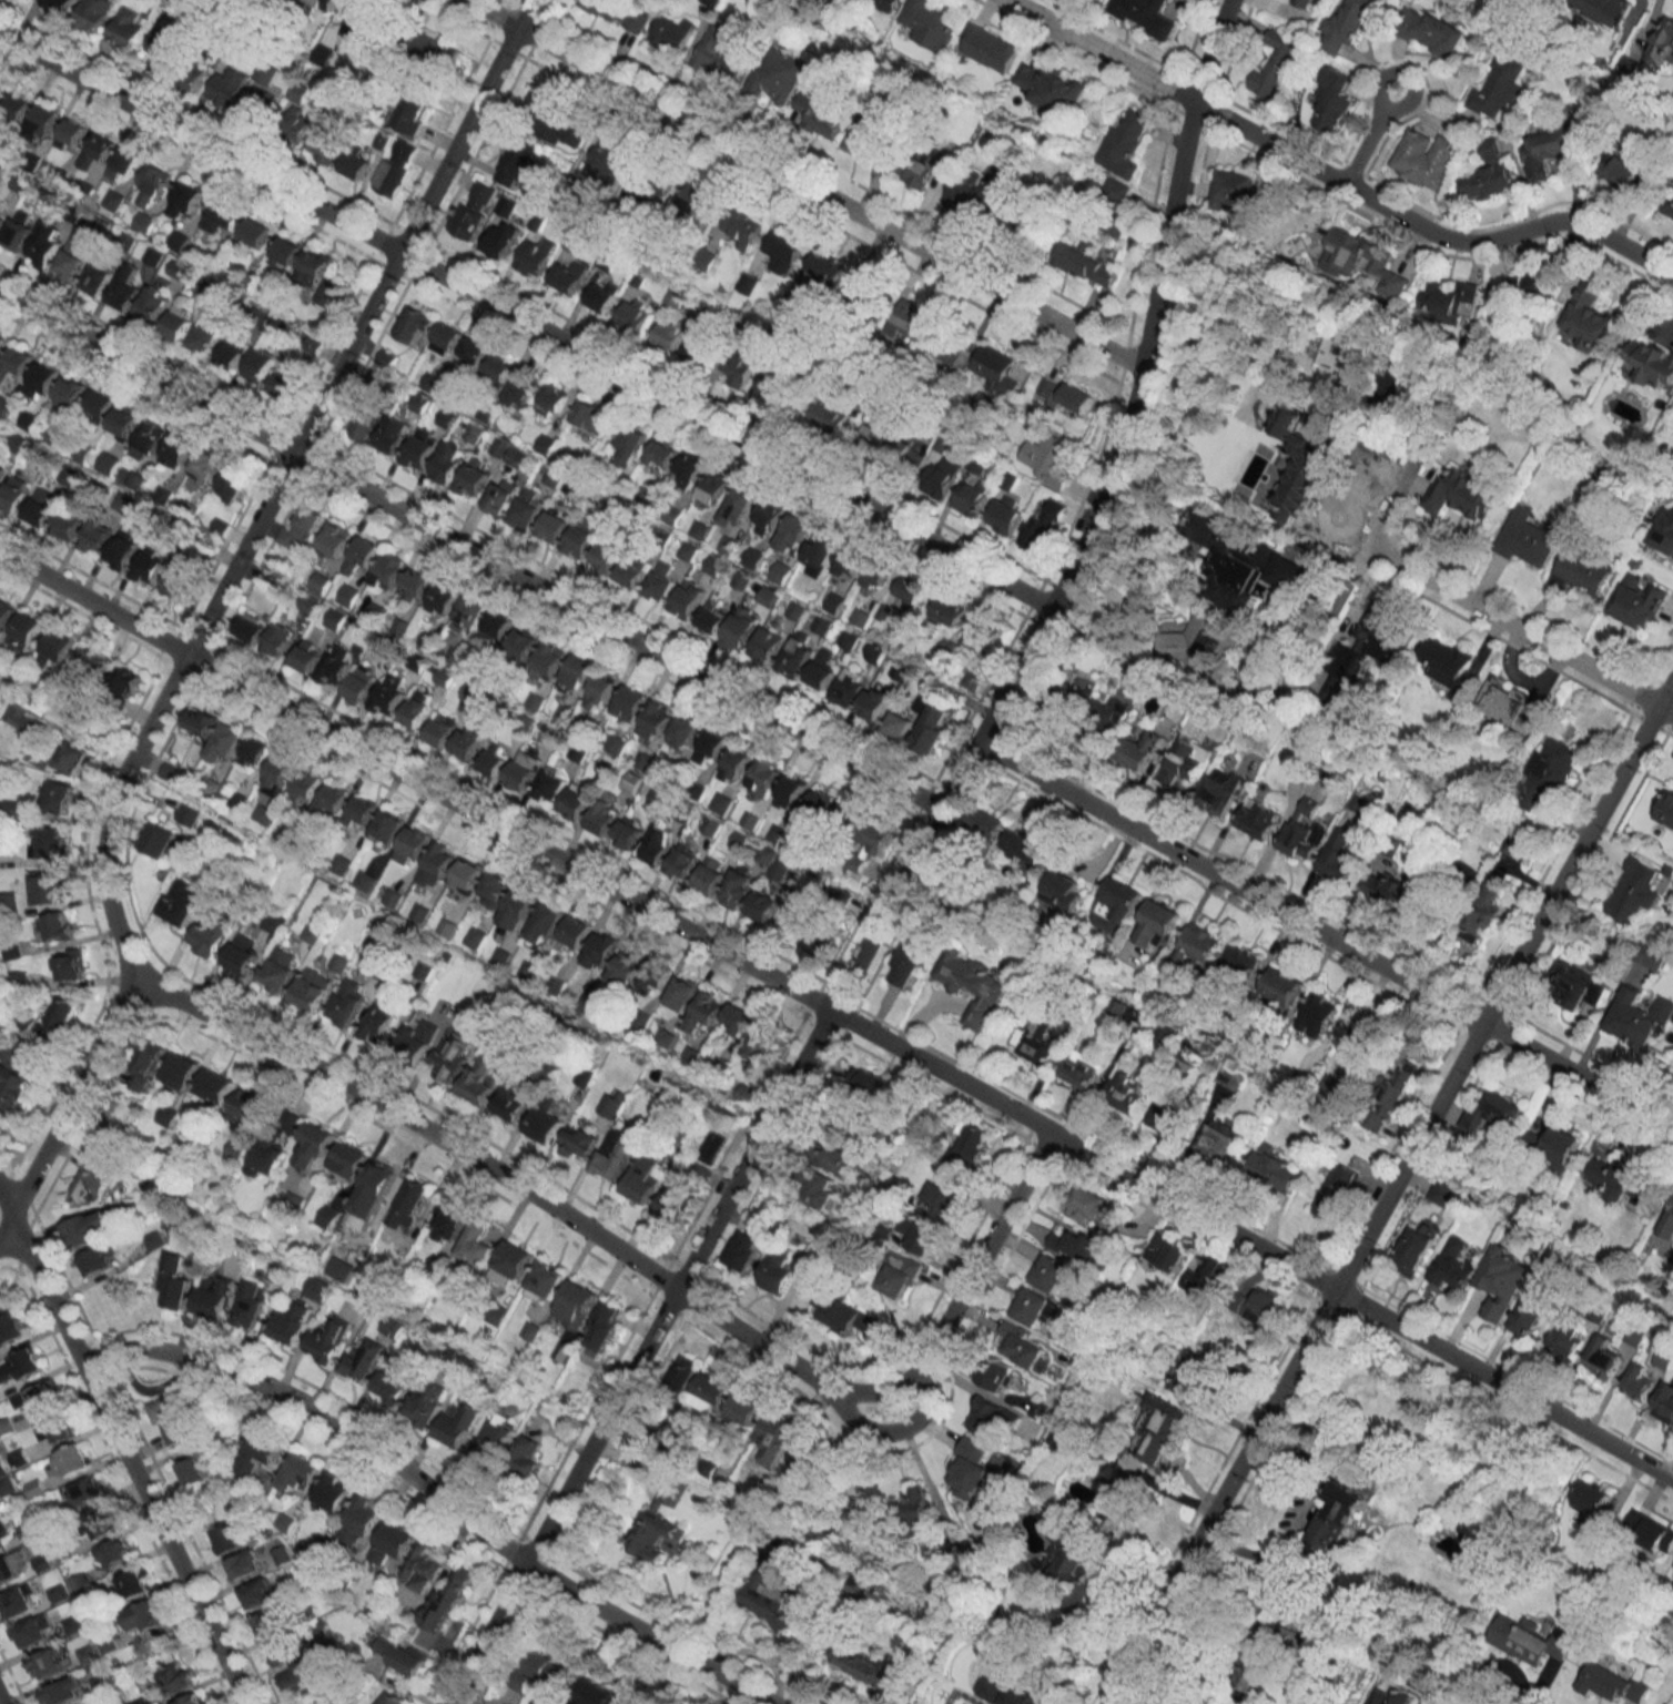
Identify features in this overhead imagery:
building: (710, 2)
building: (1300, 2)
building: (323, 3)
building: (884, 3)
building: (55, 4)
building: (1604, 10)
building: (618, 12)
building: (1144, 13)
building: (94, 14)
building: (362, 23)
building: (927, 23)
building: (1348, 26)
building: (125, 30)
building: (671, 33)
building: (1433, 33)
building: (1664, 40)
building: (433, 48)
building: (986, 48)
building: (162, 49)
building: (322, 54)
building: (720, 57)
building: (1275, 63)
building: (192, 71)
building: (265, 73)
building: (778, 74)
building: (226, 87)
building: (1051, 88)
building: (1499, 89)
building: (298, 92)
building: (17, 103)
building: (256, 109)
building: (1330, 110)
building: (820, 116)
building: (43, 121)
building: (554, 122)
building: (294, 126)
road: (1369, 133)
building: (71, 135)
building: (1123, 144)
building: (325, 145)
building: (871, 145)
building: (95, 151)
building: (1549, 151)
building: (1427, 159)
building: (608, 161)
building: (515, 162)
building: (0, 164)
building: (356, 164)
building: (926, 165)
building: (397, 168)
building: (1620, 172)
building: (1489, 173)
road: (1336, 176)
building: (655, 182)
building: (153, 184)
building: (1231, 189)
building: (969, 192)
building: (184, 200)
building: (113, 201)
building: (699, 202)
building: (1670, 206)
building: (506, 207)
building: (473, 209)
road: (860, 214)
building: (2, 215)
building: (221, 216)
building: (1022, 220)
building: (143, 222)
building: (743, 230)
building: (18, 232)
building: (256, 232)
building: (503, 239)
building: (44, 245)
building: (285, 252)
building: (783, 252)
building: (536, 257)
building: (72, 258)
building: (1362, 260)
building: (1085, 265)
building: (313, 267)
building: (825, 267)
building: (178, 270)
building: (98, 276)
building: (569, 276)
building: (125, 288)
building: (865, 290)
building: (1520, 290)
building: (326, 295)
building: (604, 296)
building: (675, 297)
building: (1447, 302)
building: (1221, 303)
building: (152, 305)
building: (635, 314)
road: (526, 318)
building: (1590, 318)
building: (911, 319)
building: (178, 322)
building: (416, 326)
building: (669, 333)
building: (204, 336)
building: (446, 339)
building: (1, 341)
building: (233, 351)
building: (951, 351)
building: (1342, 351)
building: (701, 352)
building: (472, 357)
building: (386, 358)
building: (14, 363)
building: (739, 364)
building: (1652, 364)
building: (258, 365)
building: (499, 369)
building: (996, 369)
building: (41, 378)
building: (286, 386)
building: (773, 390)
building: (70, 393)
building: (520, 393)
building: (1065, 397)
building: (554, 398)
building: (97, 409)
building: (829, 413)
building: (591, 415)
building: (123, 424)
building: (365, 424)
building: (392, 438)
building: (149, 439)
building: (891, 439)
building: (546, 444)
building: (630, 444)
building: (420, 449)
building: (178, 450)
building: (662, 455)
building: (1047, 459)
building: (448, 461)
building: (109, 463)
building: (203, 466)
building: (689, 470)
building: (1, 471)
building: (69, 475)
building: (941, 476)
building: (474, 478)
road: (278, 479)
building: (233, 483)
building: (713, 487)
building: (13, 494)
building: (1462, 494)
building: (501, 496)
building: (646, 498)
building: (972, 498)
building: (737, 507)
building: (40, 508)
building: (528, 508)
building: (1005, 516)
building: (767, 518)
building: (67, 526)
building: (554, 526)
building: (1043, 526)
road: (1088, 527)
building: (301, 528)
building: (1663, 531)
building: (793, 534)
building: (95, 535)
building: (581, 537)
road: (1371, 538)
building: (335, 539)
building: (1528, 539)
road: (469, 549)
building: (123, 550)
building: (688, 551)
building: (819, 554)
building: (362, 555)
building: (607, 557)
building: (753, 558)
building: (848, 561)
building: (1243, 564)
building: (149, 566)
building: (712, 566)
building: (633, 570)
building: (780, 572)
building: (1581, 572)
building: (387, 574)
building: (875, 574)
building: (660, 582)
building: (178, 584)
building: (415, 586)
building: (911, 589)
building: (315, 592)
building: (347, 596)
building: (769, 596)
building: (443, 598)
building: (688, 599)
building: (834, 602)
building: (1639, 602)
building: (950, 610)
building: (6, 612)
building: (467, 617)
building: (712, 618)
building: (861, 618)
building: (335, 619)
building: (821, 625)
building: (251, 628)
building: (741, 628)
building: (496, 629)
building: (24, 631)
road: (1520, 631)
building: (984, 635)
building: (280, 639)
building: (848, 639)
building: (1198, 643)
building: (523, 645)
building: (767, 645)
building: (55, 648)
building: (876, 653)
building: (1360, 653)
building: (307, 656)
building: (797, 656)
building: (549, 660)
building: (1447, 663)
building: (90, 665)
building: (336, 665)
building: (822, 670)
building: (900, 670)
building: (576, 674)
building: (126, 681)
building: (362, 682)
building: (849, 687)
building: (600, 692)
building: (389, 693)
building: (1064, 694)
building: (630, 703)
building: (874, 703)
building: (1511, 706)
building: (416, 709)
building: (21, 718)
building: (656, 720)
building: (200, 721)
building: (899, 723)
building: (932, 728)
building: (442, 730)
building: (683, 732)
building: (226, 739)
building: (468, 742)
building: (615, 743)
building: (711, 744)
building: (255, 750)
building: (1143, 751)
building: (60, 755)
building: (493, 761)
building: (1184, 762)
building: (734, 764)
building: (523, 771)
building: (1548, 771)
building: (276, 774)
building: (763, 778)
road: (414, 781)
building: (306, 785)
building: (550, 785)
building: (1221, 790)
building: (791, 791)
building: (55, 795)
building: (331, 801)
building: (576, 801)
building: (722, 803)
building: (821, 803)
building: (11, 807)
building: (1666, 810)
building: (361, 812)
building: (683, 812)
building: (186, 814)
building: (605, 815)
building: (845, 815)
building: (1259, 819)
building: (988, 822)
building: (711, 824)
building: (388, 825)
building: (1304, 832)
building: (628, 833)
building: (875, 838)
building: (161, 841)
building: (48, 843)
building: (413, 844)
building: (658, 844)
building: (1027, 846)
building: (1340, 856)
building: (685, 859)
building: (773, 862)
building: (437, 864)
building: (467, 875)
building: (711, 875)
building: (365, 881)
building: (45, 887)
building: (1063, 887)
building: (1634, 887)
building: (738, 889)
building: (494, 890)
building: (1389, 890)
building: (1119, 901)
building: (179, 903)
building: (763, 905)
building: (518, 909)
building: (1481, 913)
building: (1156, 924)
building: (544, 925)
building: (57, 926)
building: (574, 932)
building: (210, 934)
road: (1325, 936)
building: (820, 941)
building: (1199, 946)
building: (600, 951)
building: (242, 954)
building: (1652, 957)
building: (1241, 962)
building: (68, 964)
building: (906, 964)
building: (627, 966)
building: (280, 968)
building: (653, 977)
building: (974, 985)
building: (1578, 985)
building: (1282, 986)
building: (312, 988)
building: (682, 993)
building: (347, 1002)
building: (1118, 1006)
building: (63, 1013)
building: (706, 1013)
building: (1318, 1015)
building: (1639, 1016)
building: (738, 1020)
road: (1603, 1020)
building: (379, 1021)
building: (28, 1022)
building: (1165, 1033)
building: (417, 1041)
building: (763, 1042)
building: (1035, 1042)
building: (452, 1056)
building: (146, 1062)
building: (181, 1069)
building: (1083, 1069)
building: (14, 1076)
building: (1230, 1077)
building: (480, 1078)
building: (871, 1081)
building: (215, 1086)
building: (1128, 1093)
building: (516, 1095)
building: (1390, 1099)
road: (69, 1105)
building: (608, 1105)
building: (247, 1107)
building: (1494, 1113)
building: (168, 1115)
building: (1170, 1115)
building: (545, 1120)
building: (292, 1122)
building: (1219, 1138)
building: (315, 1142)
building: (579, 1142)
building: (235, 1147)
building: (1560, 1147)
building: (266, 1158)
building: (615, 1158)
building: (349, 1159)
building: (843, 1160)
building: (1273, 1168)
building: (643, 1178)
building: (92, 1180)
building: (1620, 1181)
building: (376, 1184)
building: (1337, 1190)
road: (1390, 1190)
building: (1442, 1190)
building: (822, 1193)
building: (676, 1198)
building: (939, 1200)
building: (408, 1205)
building: (1092, 1208)
building: (447, 1224)
building: (1669, 1224)
building: (90, 1227)
building: (921, 1235)
building: (1079, 1245)
road: (1251, 1245)
building: (476, 1248)
building: (747, 1249)
building: (1166, 1250)
building: (1415, 1250)
building: (98, 1260)
building: (511, 1262)
building: (1453, 1264)
road: (643, 1269)
building: (780, 1270)
building: (277, 1274)
building: (900, 1274)
building: (1054, 1274)
building: (1205, 1276)
building: (546, 1279)
building: (1503, 1280)
building: (175, 1281)
road: (677, 1288)
building: (318, 1289)
building: (215, 1296)
building: (3, 1300)
building: (252, 1305)
building: (576, 1305)
building: (1259, 1305)
building: (1035, 1307)
building: (496, 1315)
building: (1530, 1315)
building: (848, 1317)
building: (292, 1323)
building: (604, 1326)
building: (11, 1328)
building: (1565, 1337)
building: (328, 1339)
building: (1024, 1348)
building: (1603, 1353)
building: (363, 1360)
building: (20, 1365)
building: (997, 1373)
building: (1190, 1377)
building: (683, 1378)
building: (395, 1383)
building: (1637, 1383)
building: (710, 1392)
building: (0, 1396)
building: (38, 1398)
building: (1664, 1404)
building: (424, 1406)
building: (744, 1409)
building: (1038, 1410)
building: (986, 1417)
building: (169, 1421)
building: (459, 1426)
building: (55, 1428)
building: (1159, 1429)
road: (894, 1430)
building: (496, 1439)
building: (1056, 1439)
building: (773, 1440)
road: (124, 1448)
building: (260, 1453)
building: (527, 1454)
building: (73, 1460)
building: (807, 1461)
building: (971, 1470)
building: (193, 1471)
building: (300, 1472)
building: (1119, 1473)
building: (853, 1483)
building: (84, 1491)
building: (333, 1493)
road: (436, 1498)
building: (1591, 1499)
building: (920, 1515)
road: (1300, 1517)
building: (361, 1520)
building: (661, 1521)
building: (1335, 1521)
building: (101, 1522)
building: (1650, 1532)
building: (3, 1533)
building: (229, 1538)
building: (392, 1544)
building: (115, 1552)
building: (246, 1564)
building: (1068, 1564)
building: (12, 1568)
building: (420, 1570)
building: (135, 1583)
building: (861, 1589)
building: (258, 1593)
road: (1240, 1593)
building: (18, 1602)
building: (447, 1602)
building: (772, 1602)
building: (145, 1616)
building: (267, 1623)
building: (33, 1631)
road: (484, 1634)
building: (1285, 1635)
building: (1528, 1640)
building: (283, 1651)
building: (402, 1655)
building: (49, 1663)
building: (865, 1667)
building: (541, 1672)
building: (1251, 1675)
building: (176, 1677)
building: (301, 1677)
building: (1612, 1683)
building: (65, 1691)
building: (1007, 1693)
building: (601, 1695)
building: (193, 1700)
building: (392, 1700)
road: (0, 1703)

